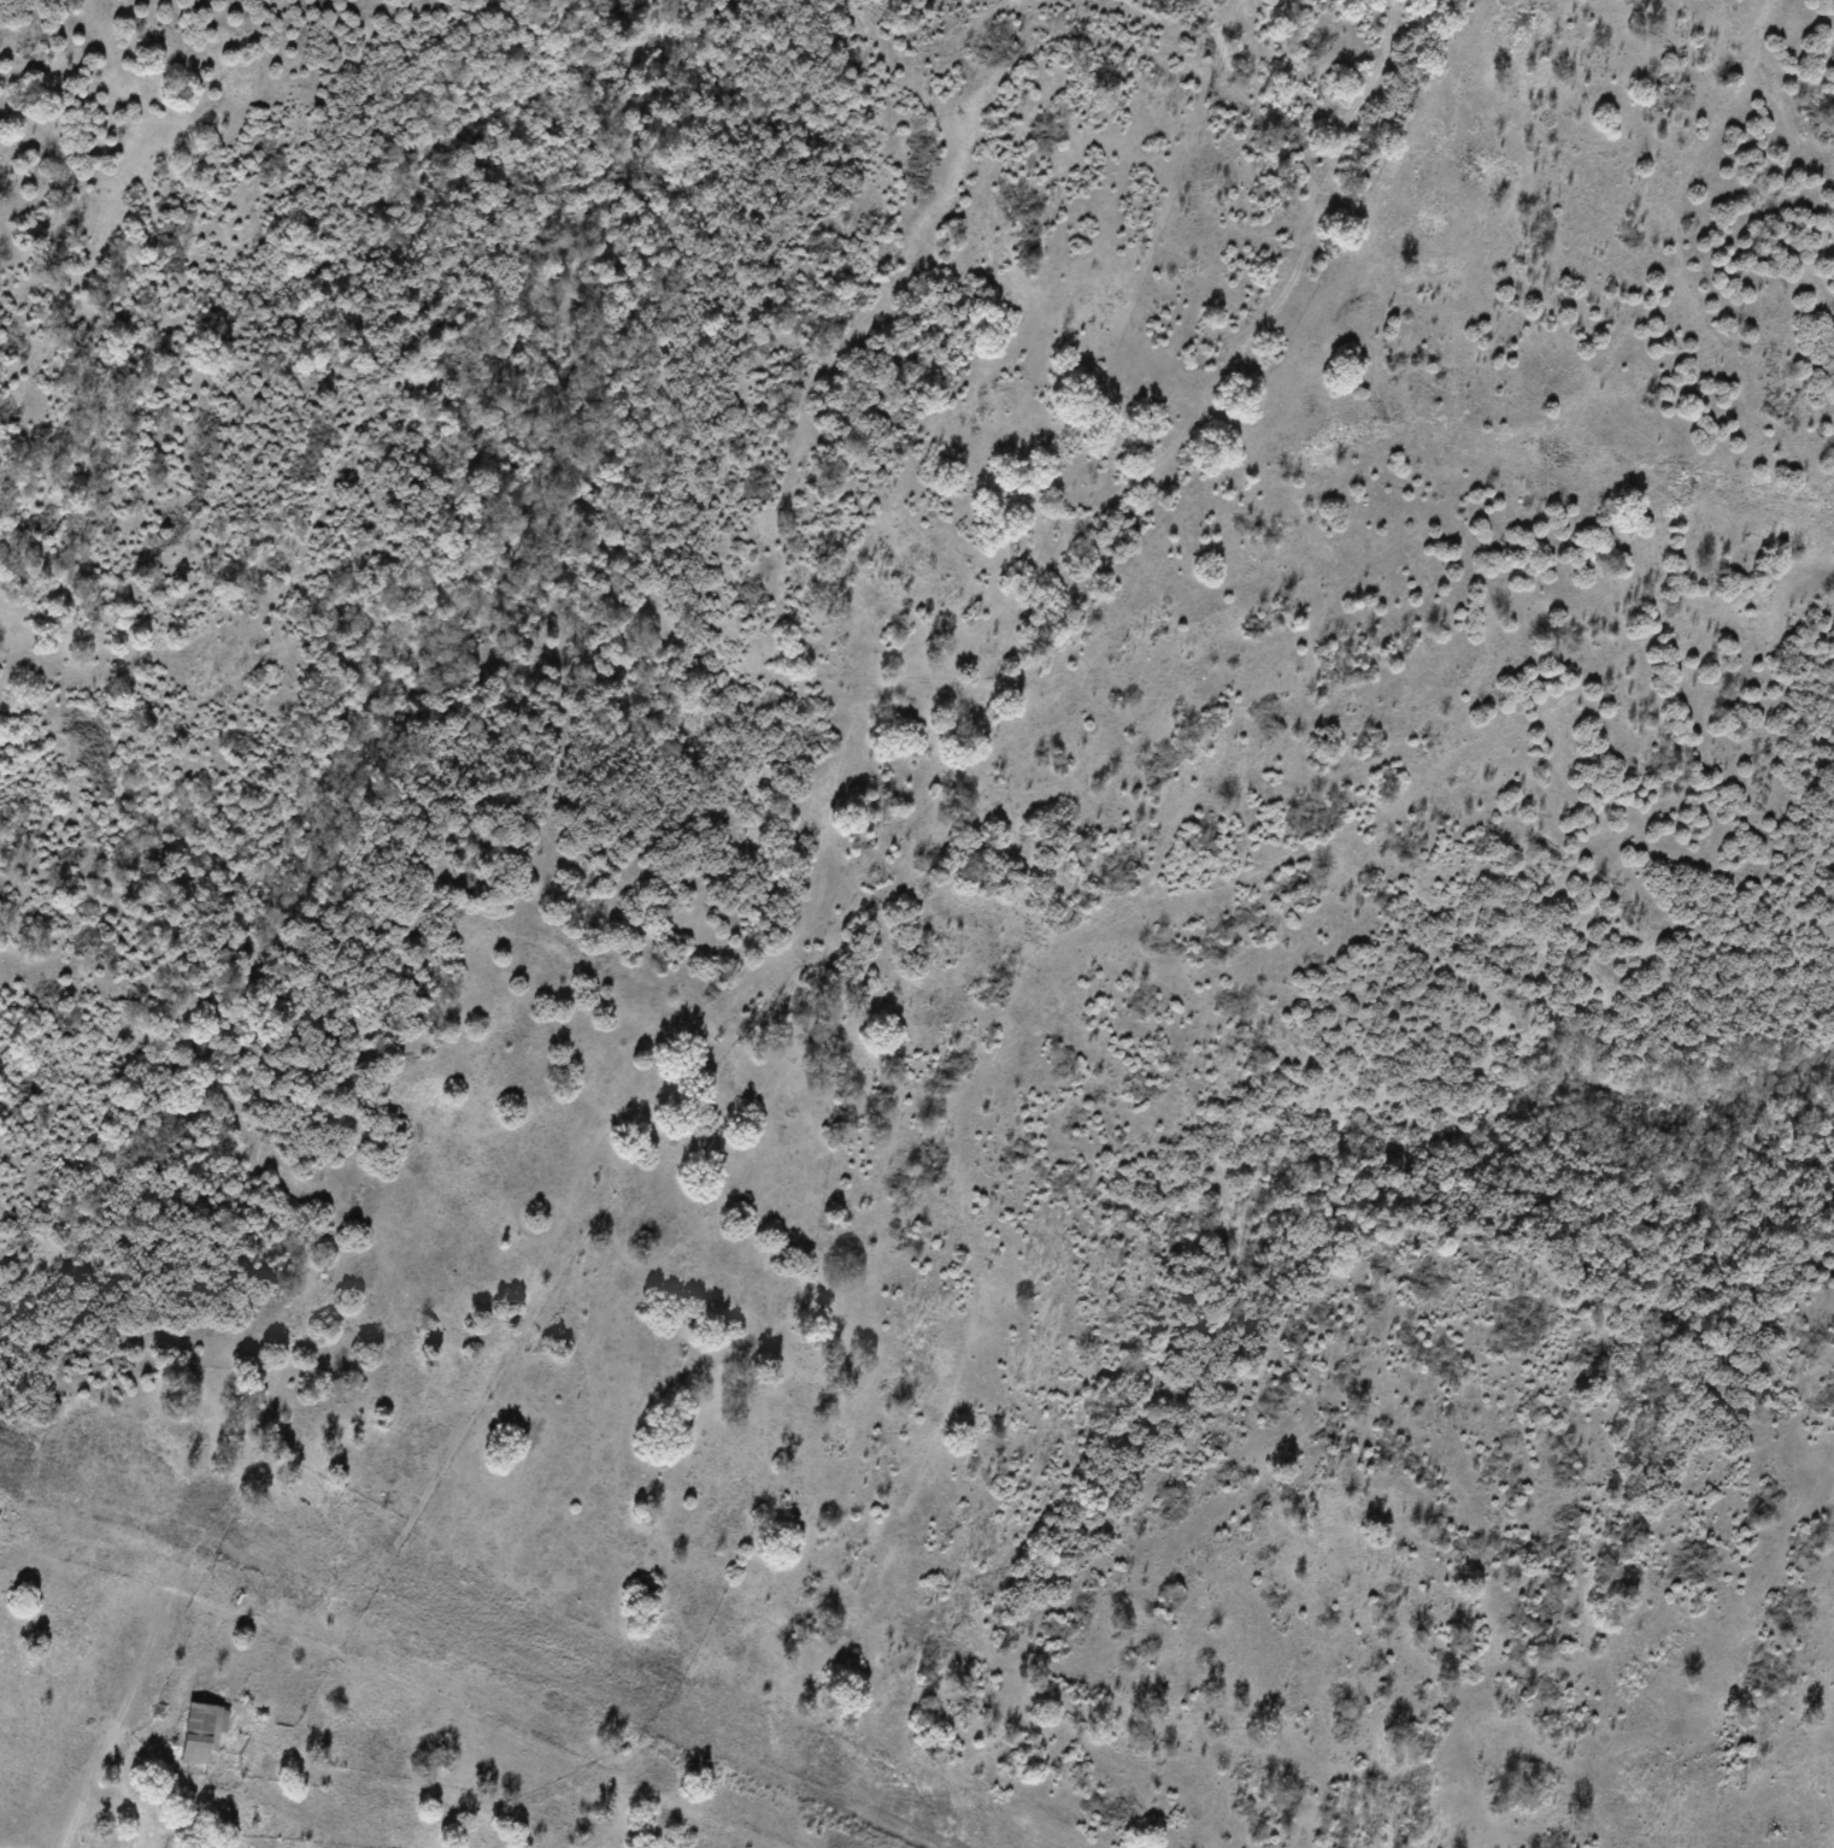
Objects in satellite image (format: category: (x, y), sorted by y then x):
building: (205, 1720)

